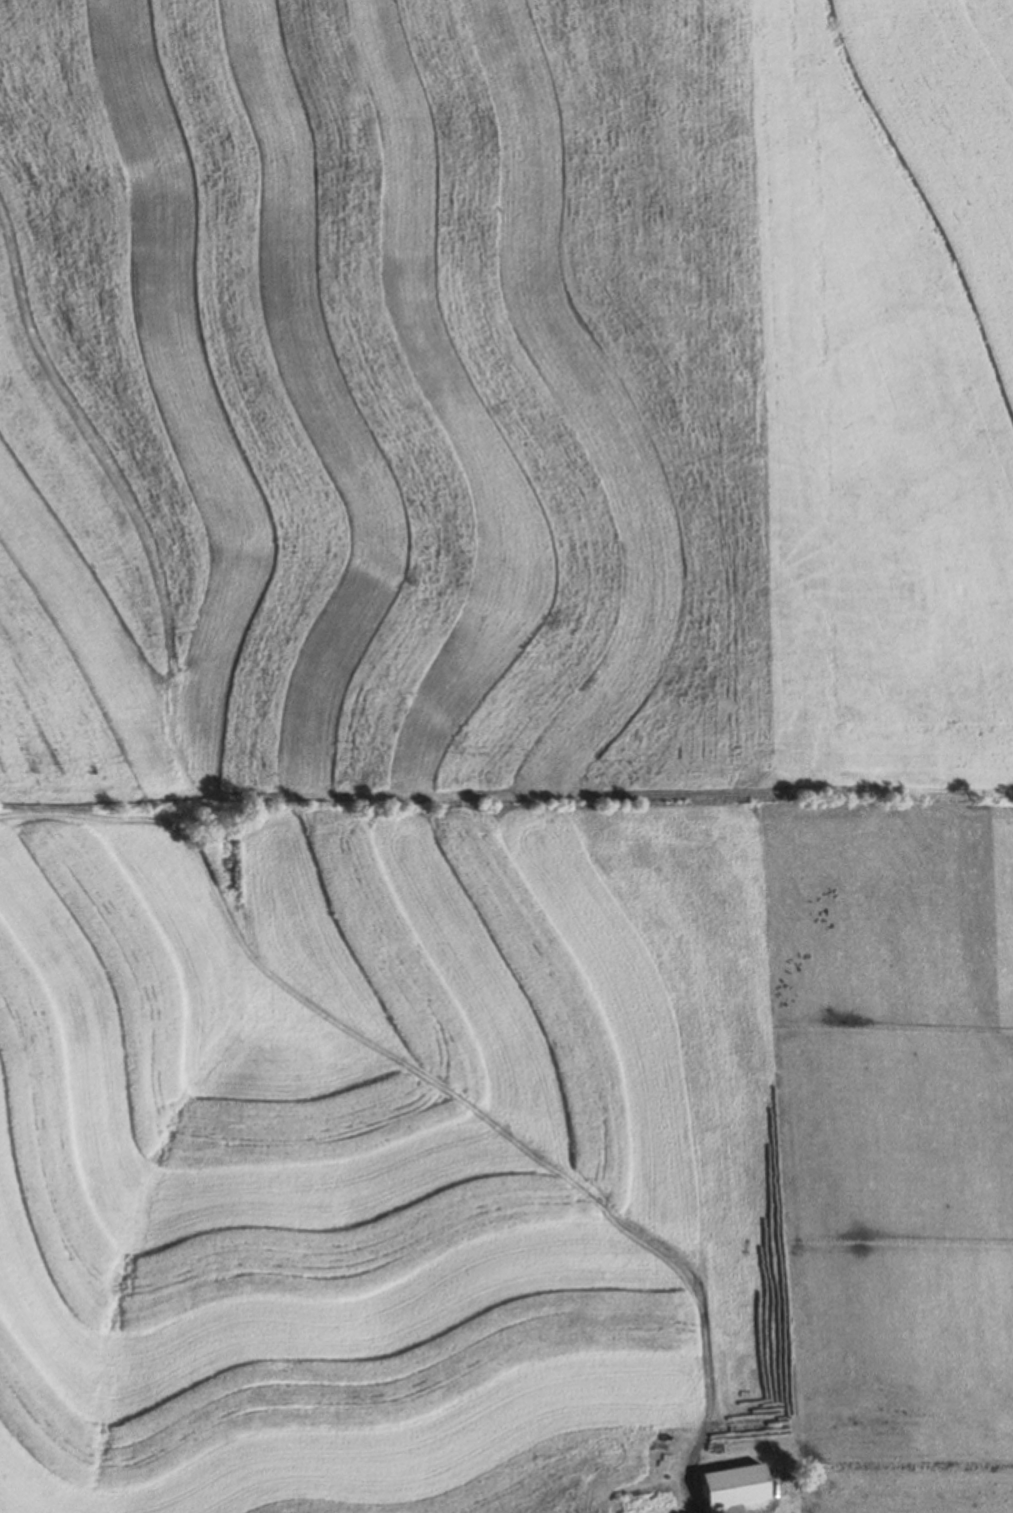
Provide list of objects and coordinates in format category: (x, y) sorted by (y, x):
building: (731, 1484)

